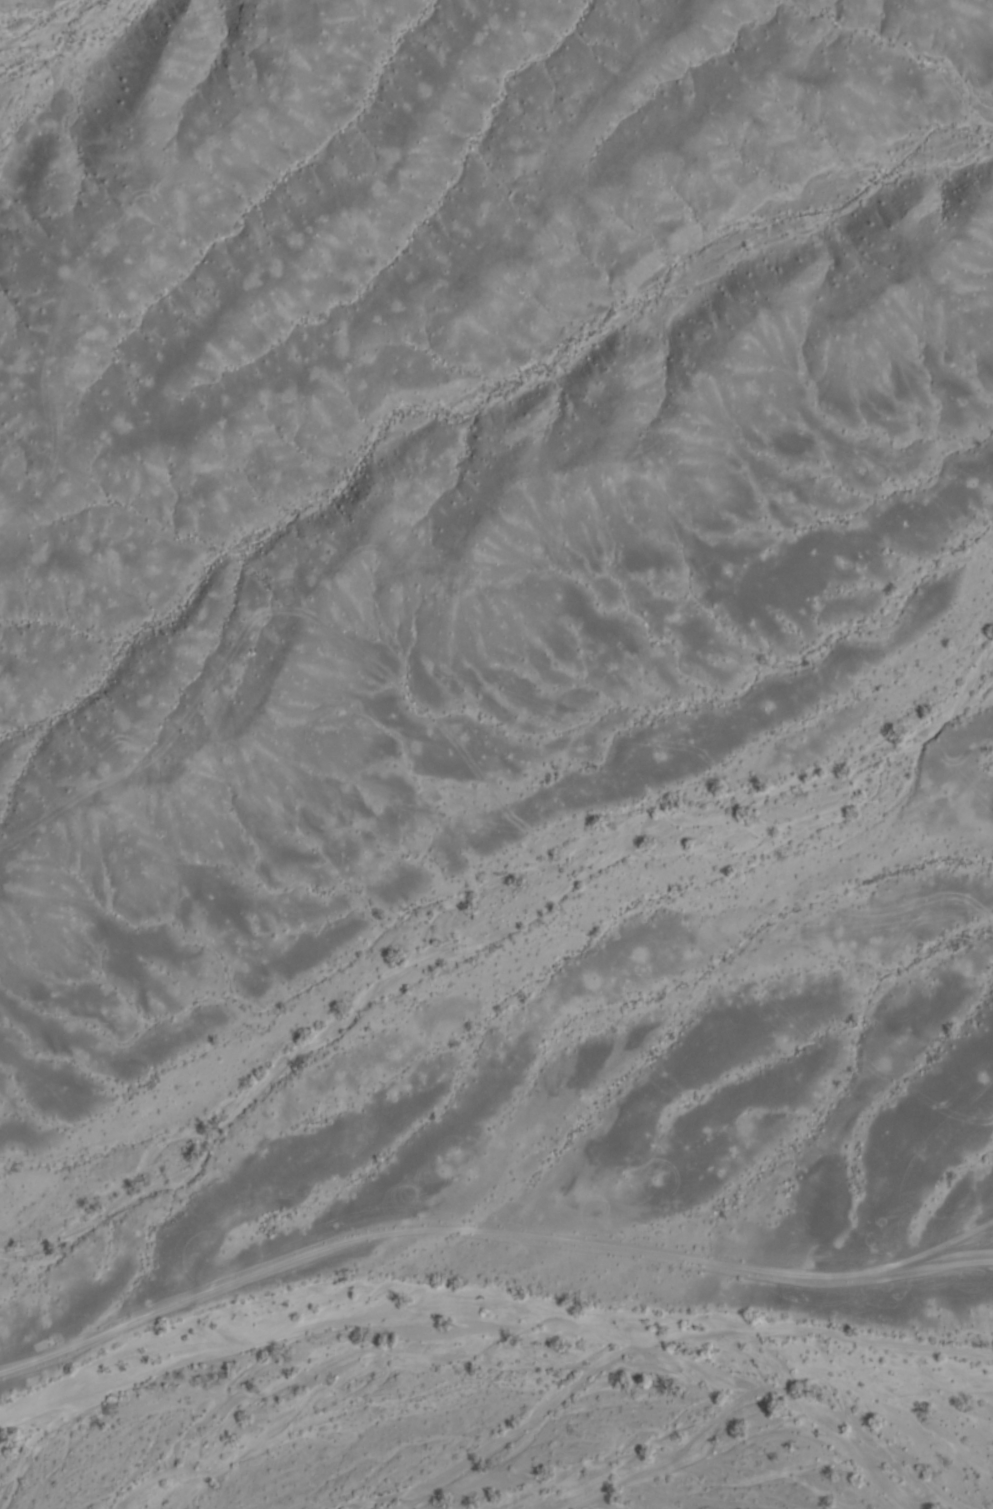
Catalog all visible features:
road: (492, 1233)

